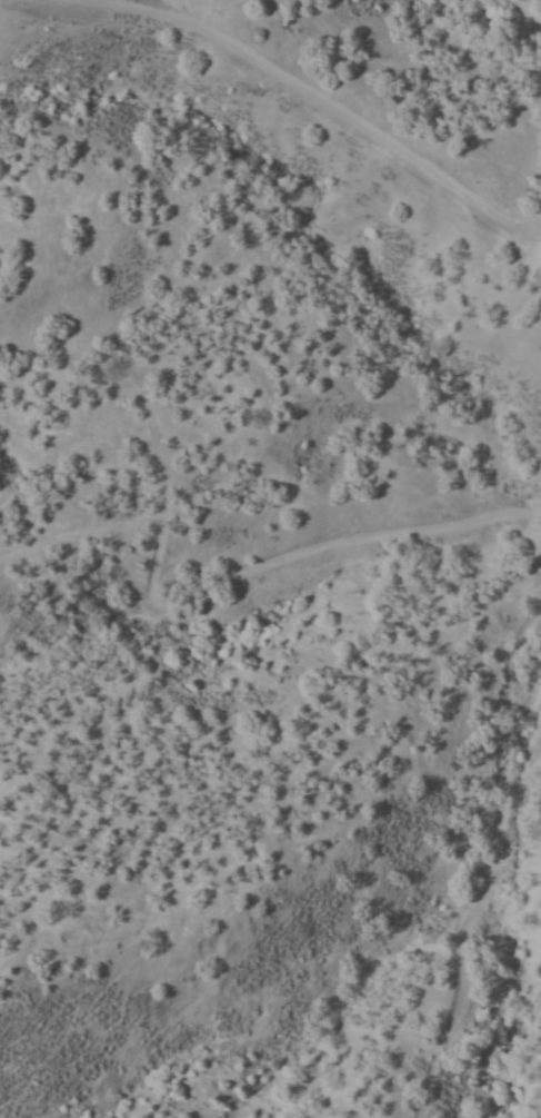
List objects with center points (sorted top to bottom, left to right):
road: (317, 98)

